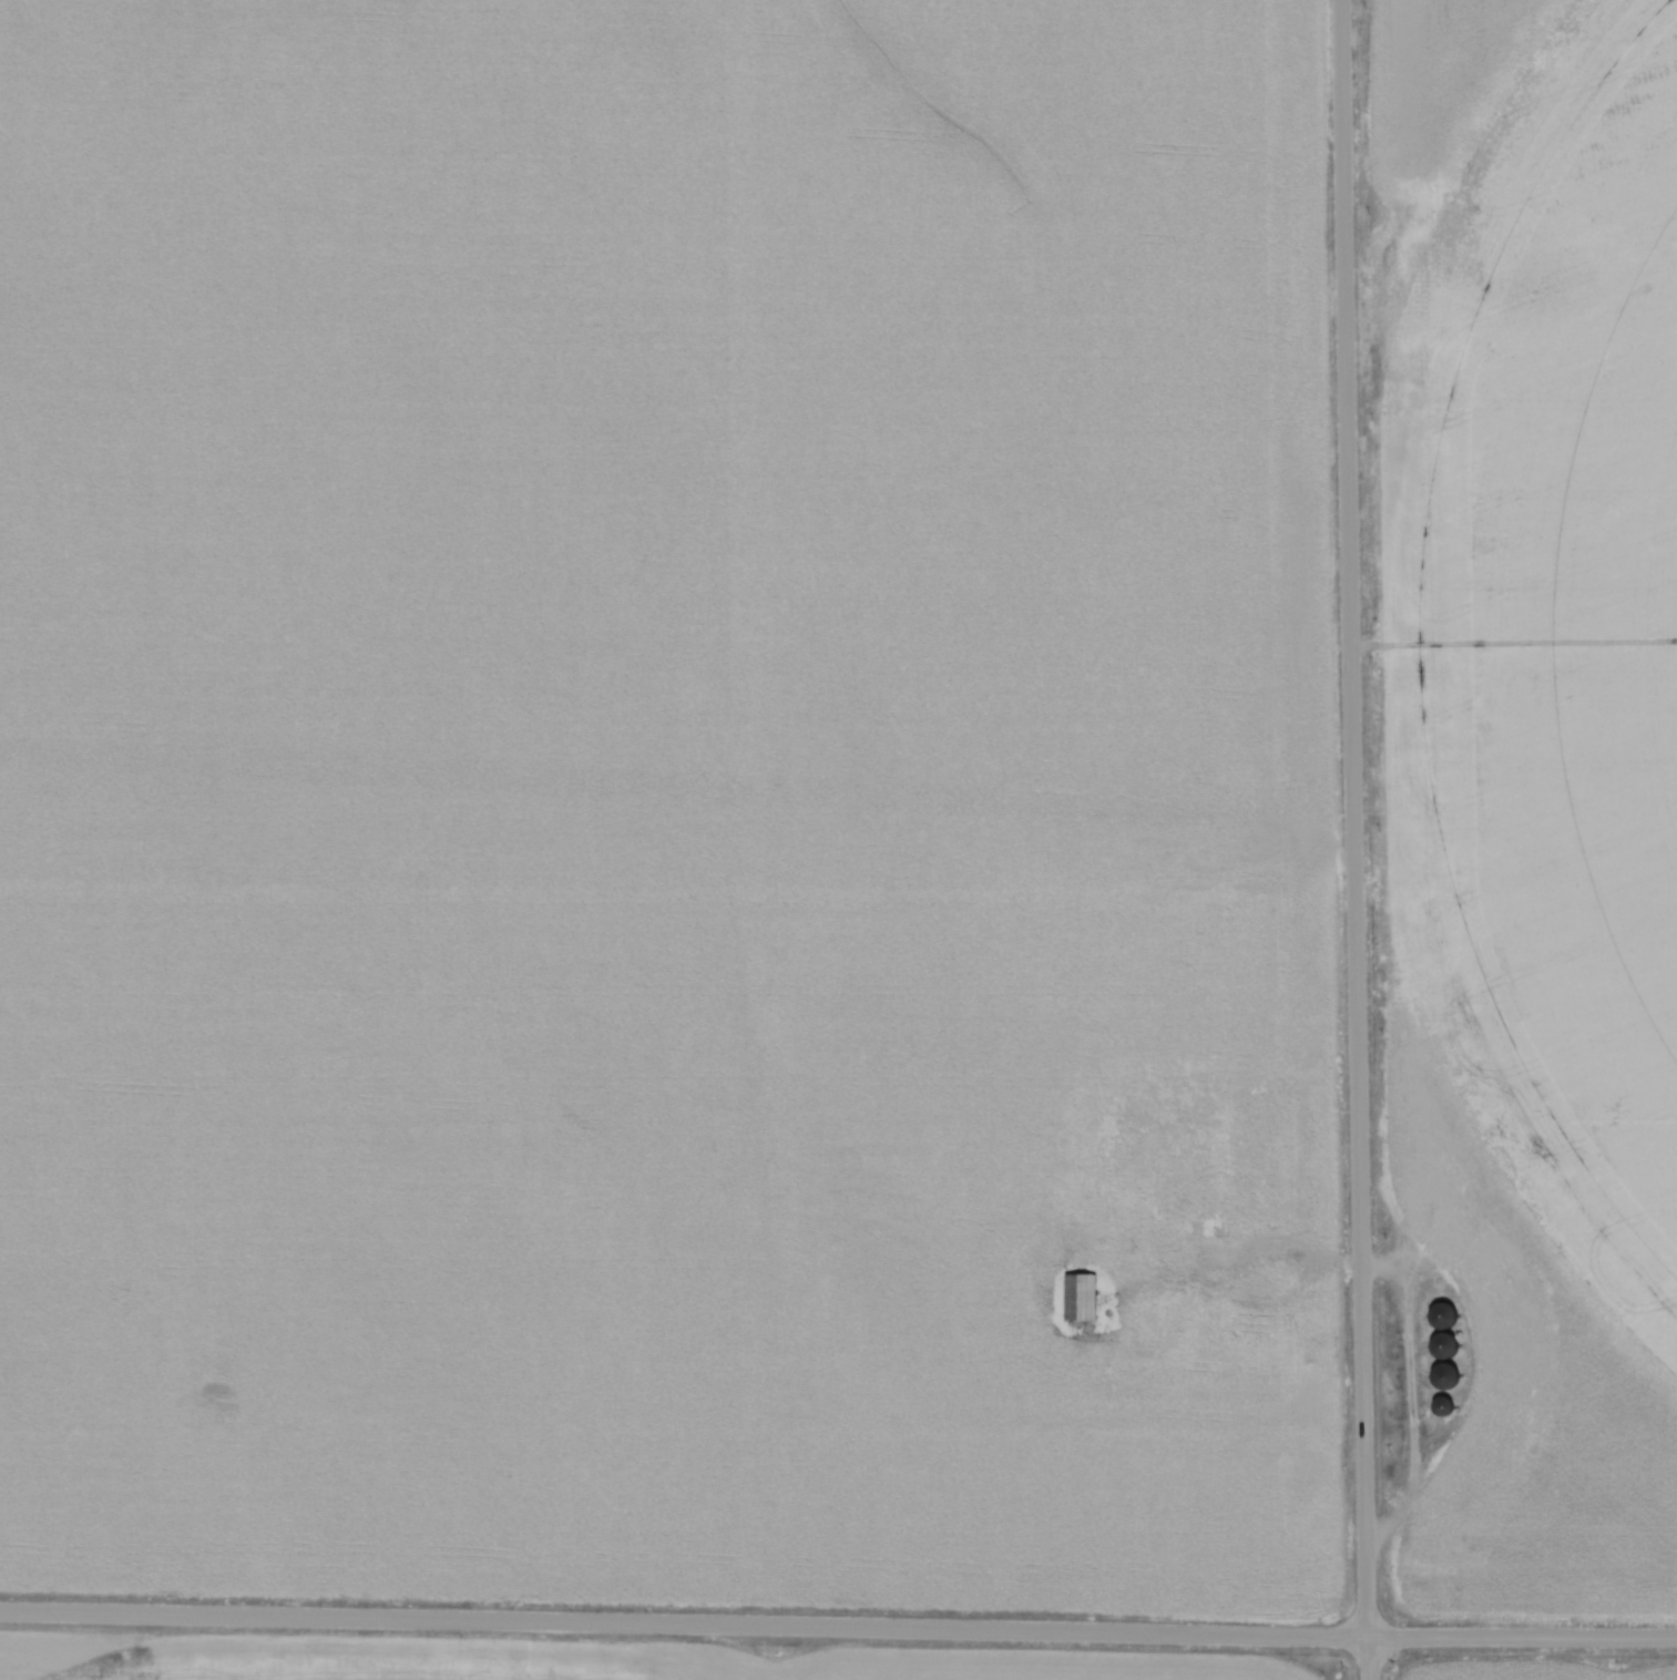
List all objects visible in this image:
crop: (633, 764)
crop: (1527, 775)
road: (1352, 820)
road: (1225, 1252)
building: (1078, 1299)
building: (1443, 1313)
silo: (1443, 1313)
building: (1443, 1345)
silo: (1443, 1345)
building: (1443, 1376)
silo: (1443, 1376)
building: (1440, 1406)
silo: (1440, 1406)
road: (838, 1630)
road: (1367, 1660)
crop: (548, 1663)
crop: (1546, 1672)

